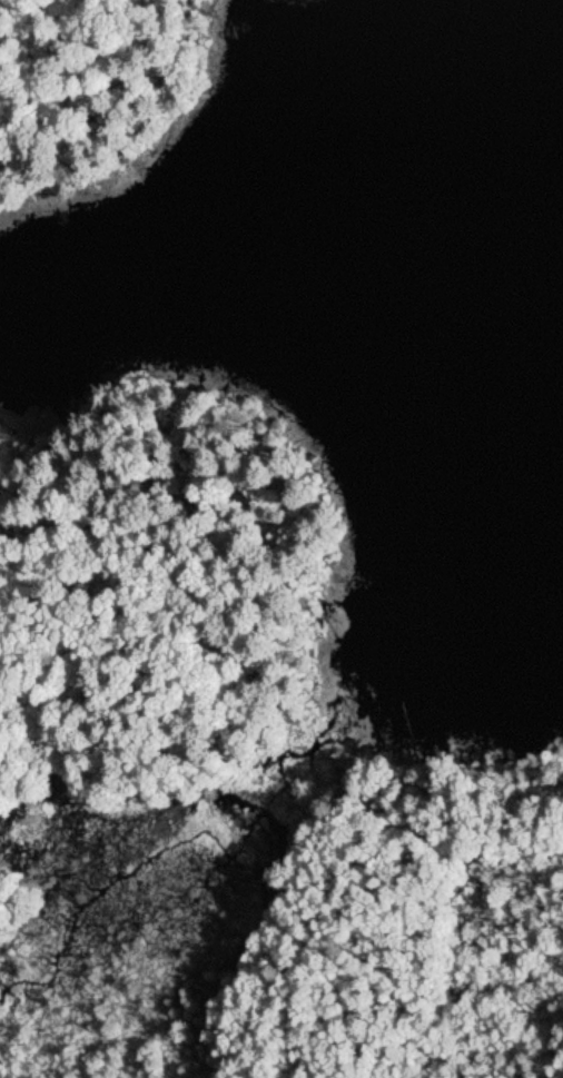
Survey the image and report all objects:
road: (62, 80)

